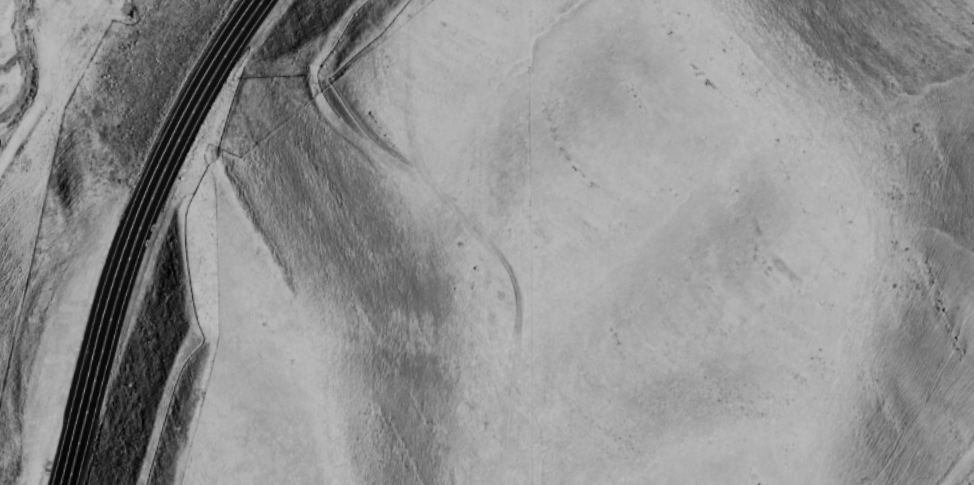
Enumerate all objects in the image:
road: (136, 230)

